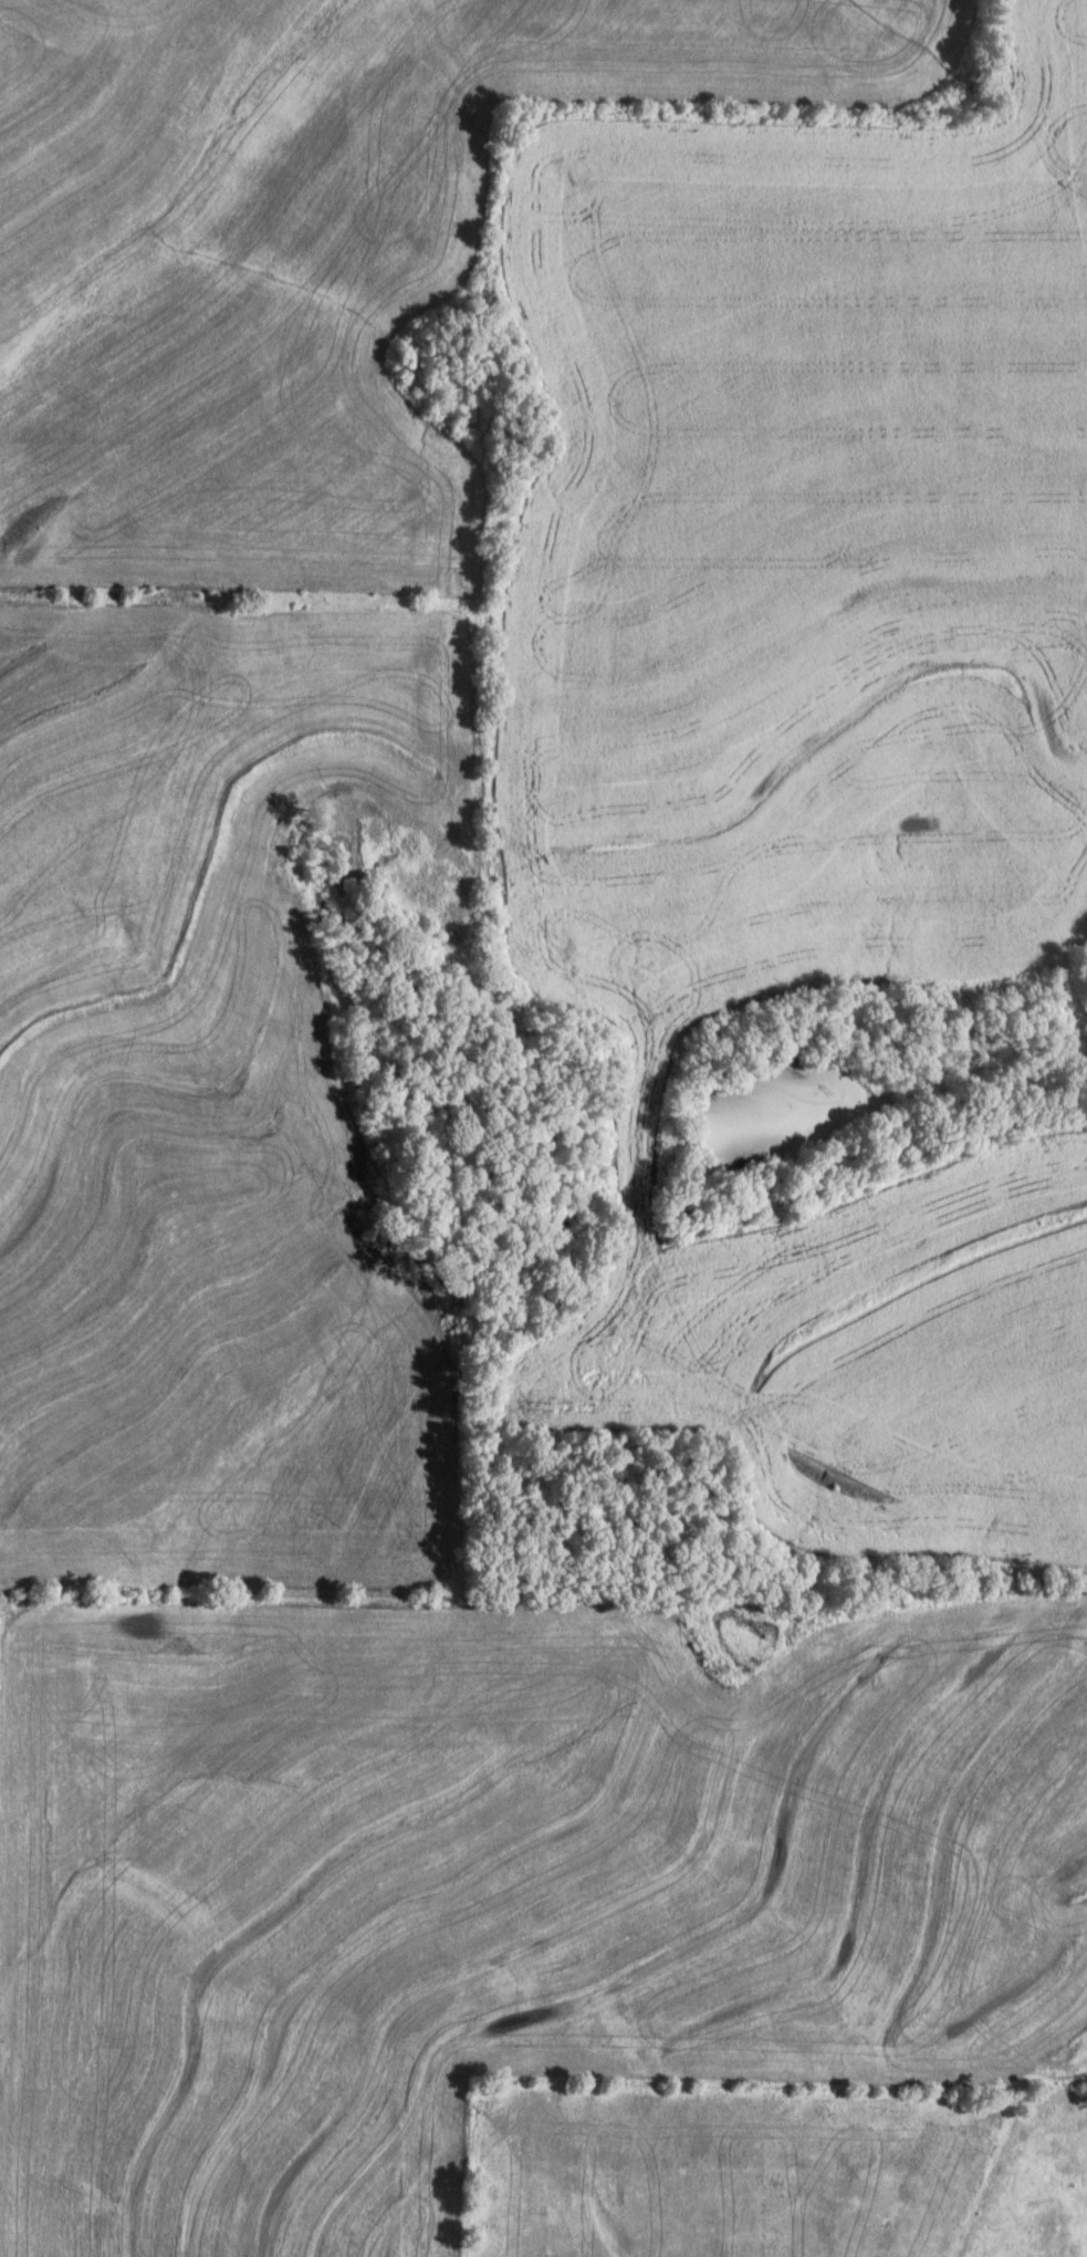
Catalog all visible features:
park: (600, 1512)

